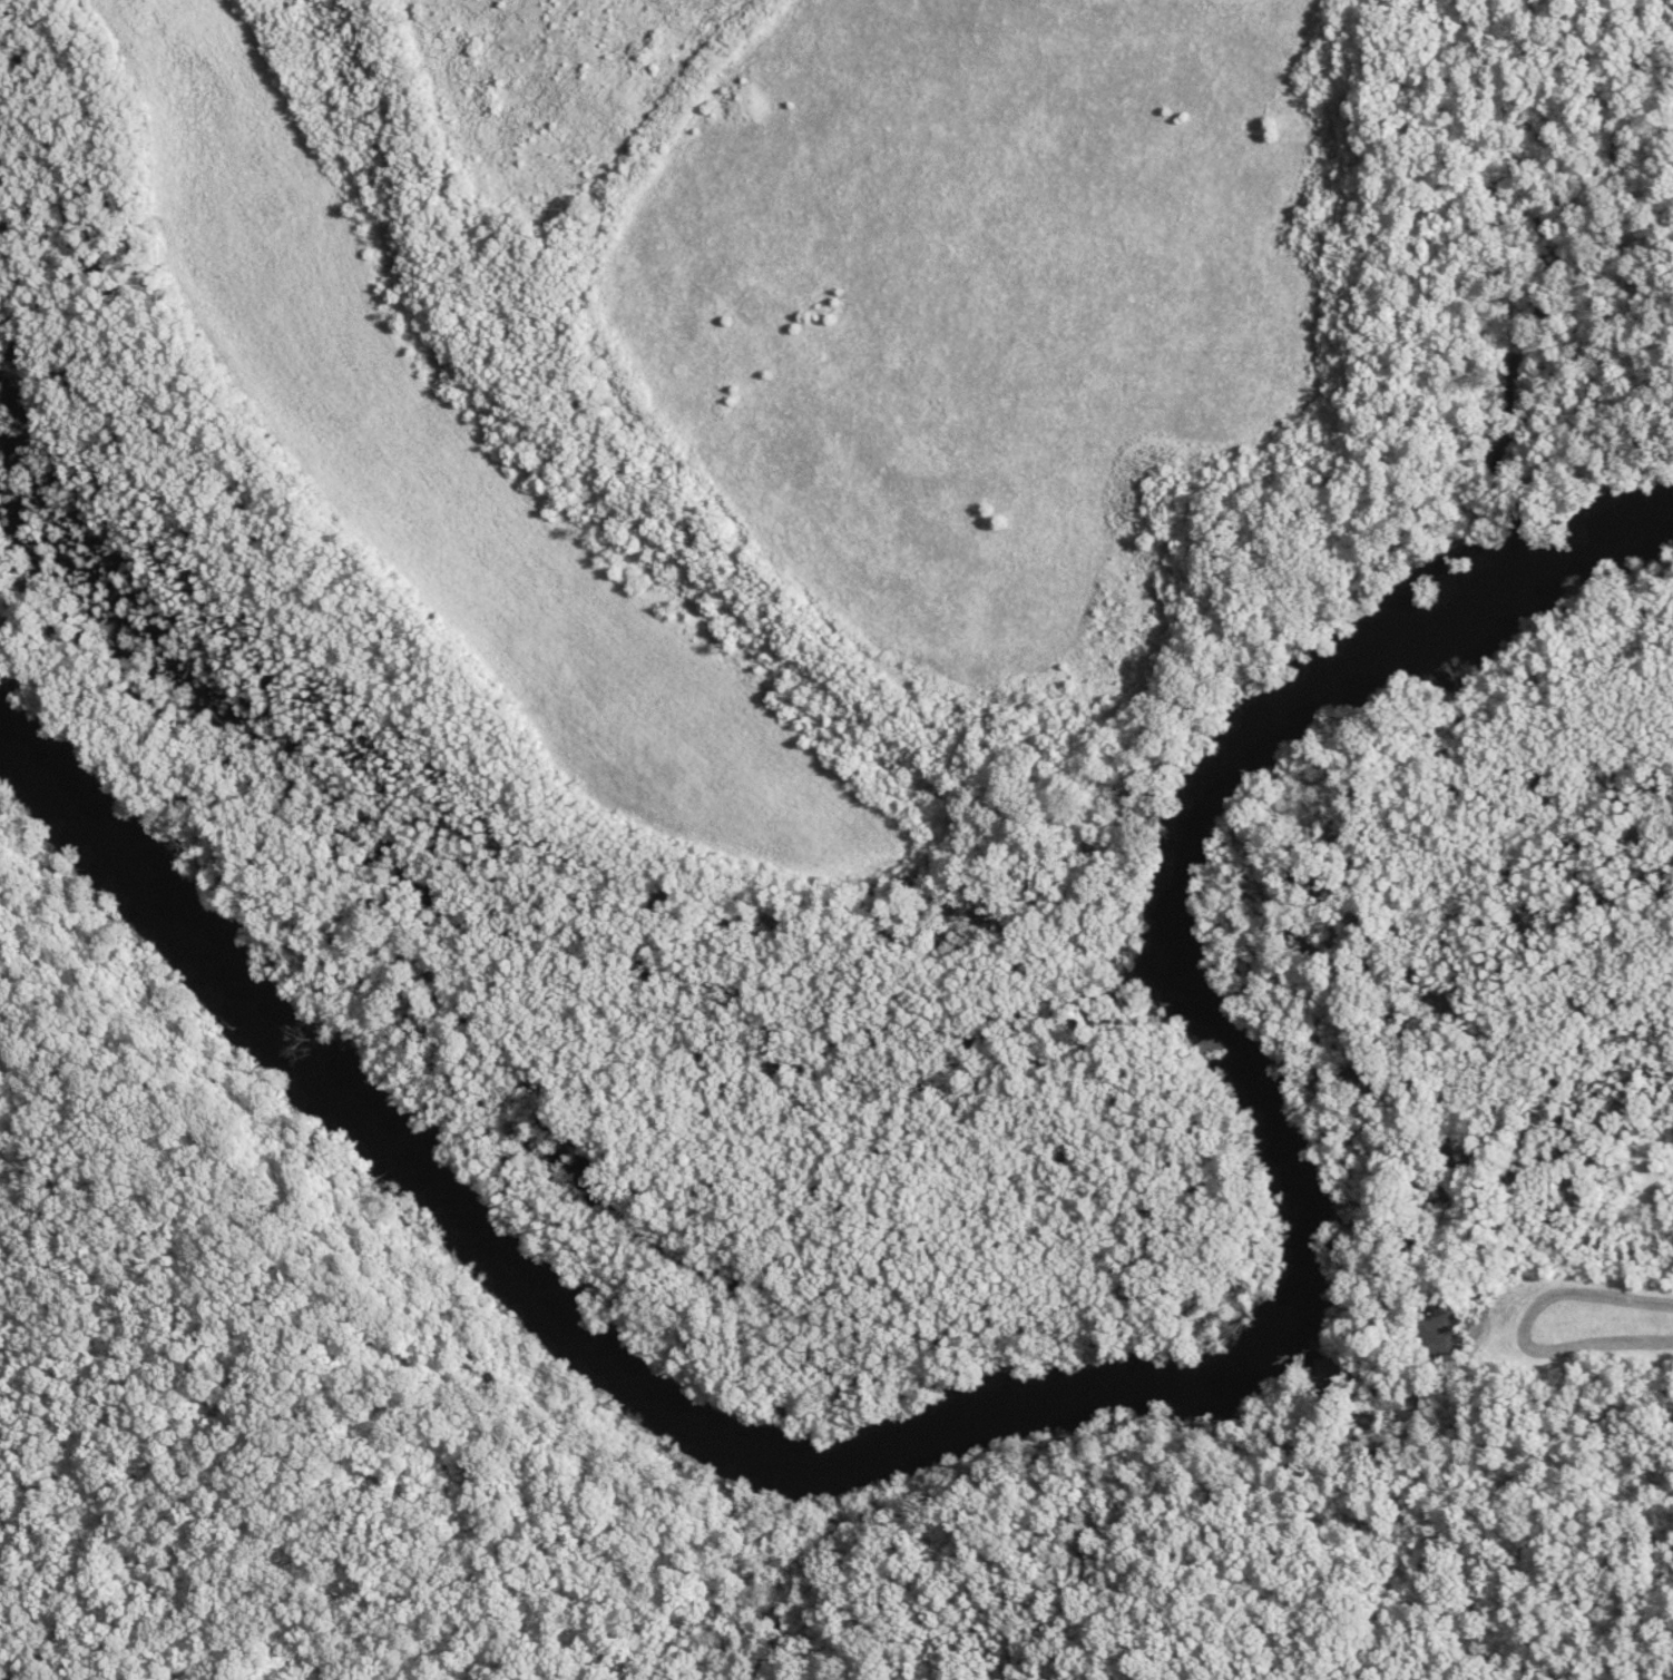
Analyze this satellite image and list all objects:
river: (1049, 1422)

